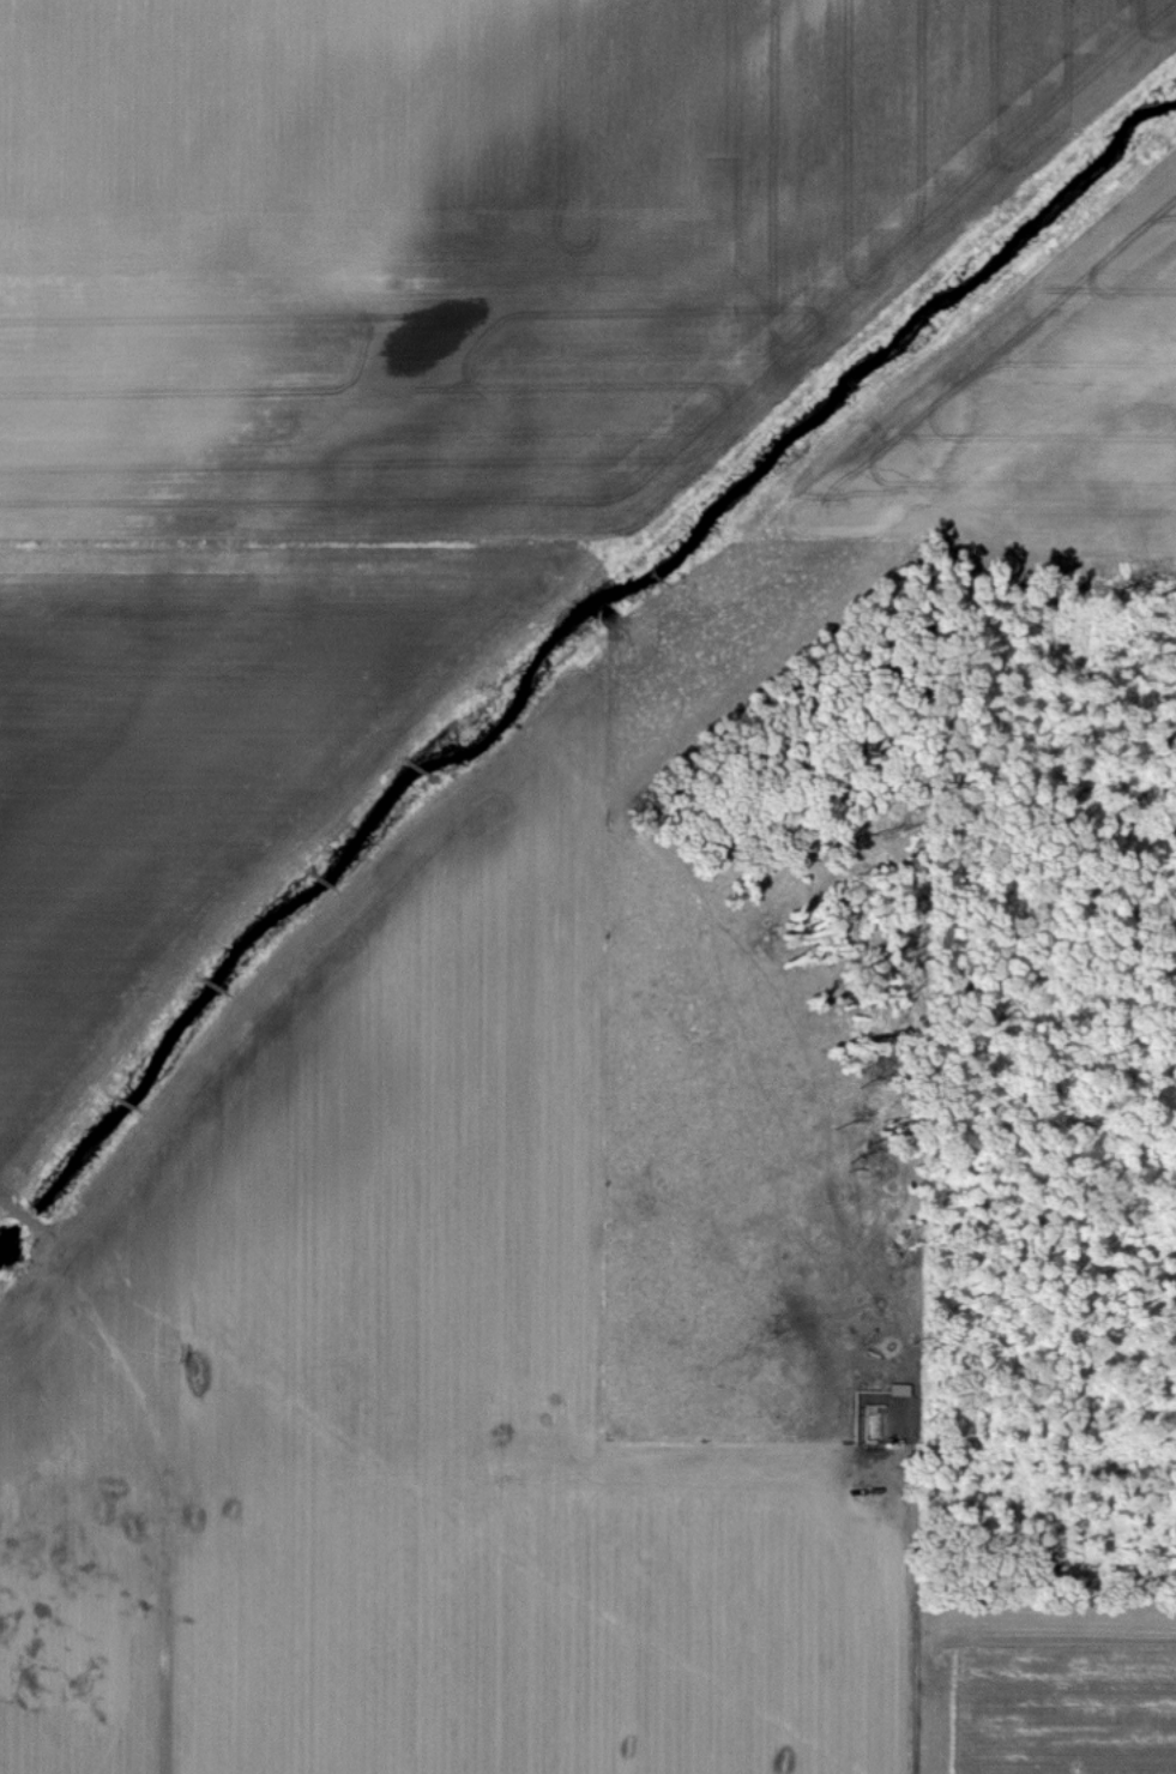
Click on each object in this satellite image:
building: (128, 1510)
building: (17, 1515)
building: (191, 1517)
road: (165, 1637)

